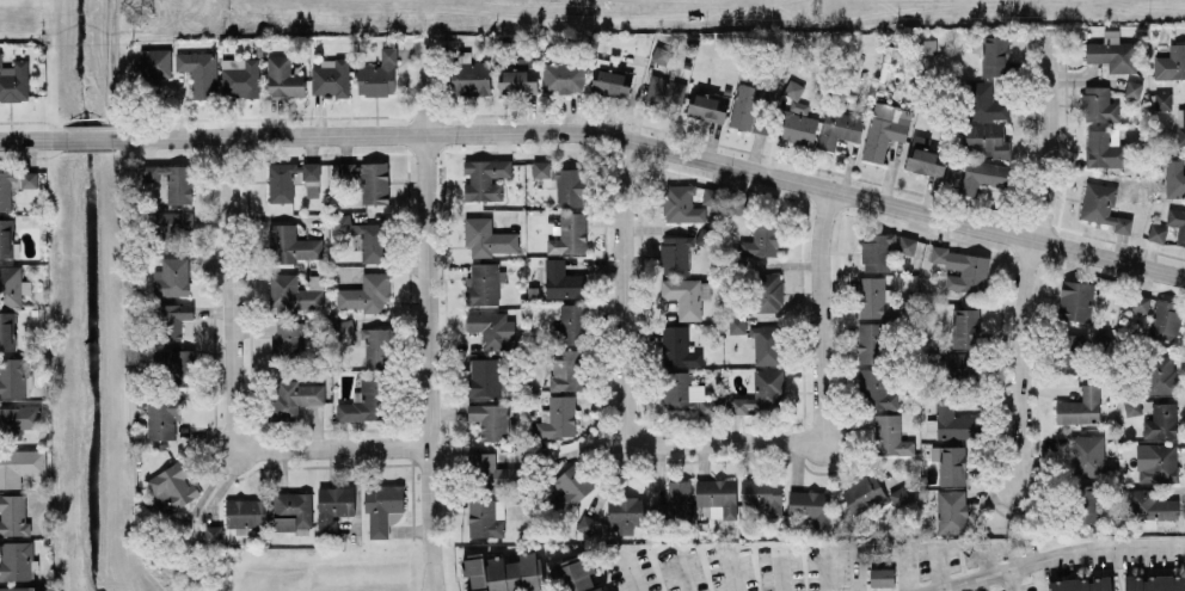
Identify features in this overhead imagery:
power tower: (135, 8)
power tower: (816, 12)
building: (923, 45)
building: (1112, 53)
building: (991, 54)
building: (661, 55)
road: (53, 61)
building: (1171, 62)
building: (155, 63)
road: (113, 69)
building: (199, 72)
building: (517, 74)
building: (377, 75)
building: (330, 76)
building: (240, 78)
building: (283, 78)
building: (469, 78)
building: (563, 78)
building: (13, 80)
building: (610, 82)
building: (1132, 88)
building: (664, 92)
building: (1162, 100)
building: (986, 101)
building: (1098, 104)
building: (747, 106)
building: (707, 107)
building: (797, 117)
building: (1181, 122)
road: (59, 125)
building: (839, 128)
building: (884, 129)
road: (88, 137)
road: (32, 138)
building: (987, 138)
road: (656, 144)
building: (1104, 148)
building: (925, 161)
building: (349, 170)
building: (982, 176)
building: (289, 178)
building: (485, 178)
building: (1174, 178)
building: (167, 179)
building: (563, 181)
building: (374, 183)
building: (14, 185)
building: (312, 187)
building: (679, 201)
building: (1101, 207)
building: (1177, 223)
building: (172, 227)
building: (1156, 233)
building: (570, 234)
building: (363, 235)
building: (6, 236)
building: (487, 236)
building: (762, 238)
building: (290, 244)
building: (907, 245)
building: (876, 251)
building: (675, 254)
road: (1027, 257)
building: (962, 269)
building: (171, 277)
building: (563, 281)
building: (481, 283)
building: (10, 285)
building: (767, 291)
building: (366, 293)
building: (293, 294)
building: (686, 295)
building: (874, 297)
building: (1075, 300)
building: (1137, 302)
road: (425, 306)
road: (818, 315)
building: (173, 318)
building: (1166, 320)
building: (572, 322)
building: (736, 324)
building: (965, 327)
building: (490, 328)
building: (7, 331)
building: (288, 341)
building: (870, 341)
building: (763, 343)
building: (376, 345)
building: (677, 347)
building: (1075, 353)
building: (174, 364)
building: (962, 364)
building: (567, 369)
building: (1160, 374)
building: (13, 376)
building: (484, 376)
road: (624, 387)
road: (237, 388)
building: (876, 389)
building: (761, 392)
building: (683, 393)
building: (293, 398)
building: (364, 401)
building: (1080, 406)
building: (557, 417)
building: (162, 418)
building: (18, 419)
building: (489, 420)
building: (1161, 420)
building: (952, 421)
building: (890, 436)
building: (1086, 455)
building: (1156, 462)
building: (950, 463)
building: (20, 464)
building: (172, 486)
building: (570, 486)
building: (761, 493)
building: (862, 493)
building: (898, 495)
building: (717, 497)
building: (676, 500)
building: (1086, 504)
building: (333, 505)
building: (810, 506)
building: (1148, 506)
building: (381, 507)
building: (291, 510)
building: (245, 511)
building: (951, 511)
building: (13, 515)
building: (486, 518)
building: (587, 524)
building: (213, 534)
road: (1057, 553)
road: (986, 556)
road: (882, 558)
building: (17, 560)
road: (940, 566)
road: (731, 570)
road: (829, 570)
road: (780, 571)
building: (503, 572)
building: (575, 573)
road: (632, 573)
road: (683, 575)
building: (882, 577)
road: (1014, 577)
building: (1154, 583)
building: (1082, 584)
building: (17, 589)

